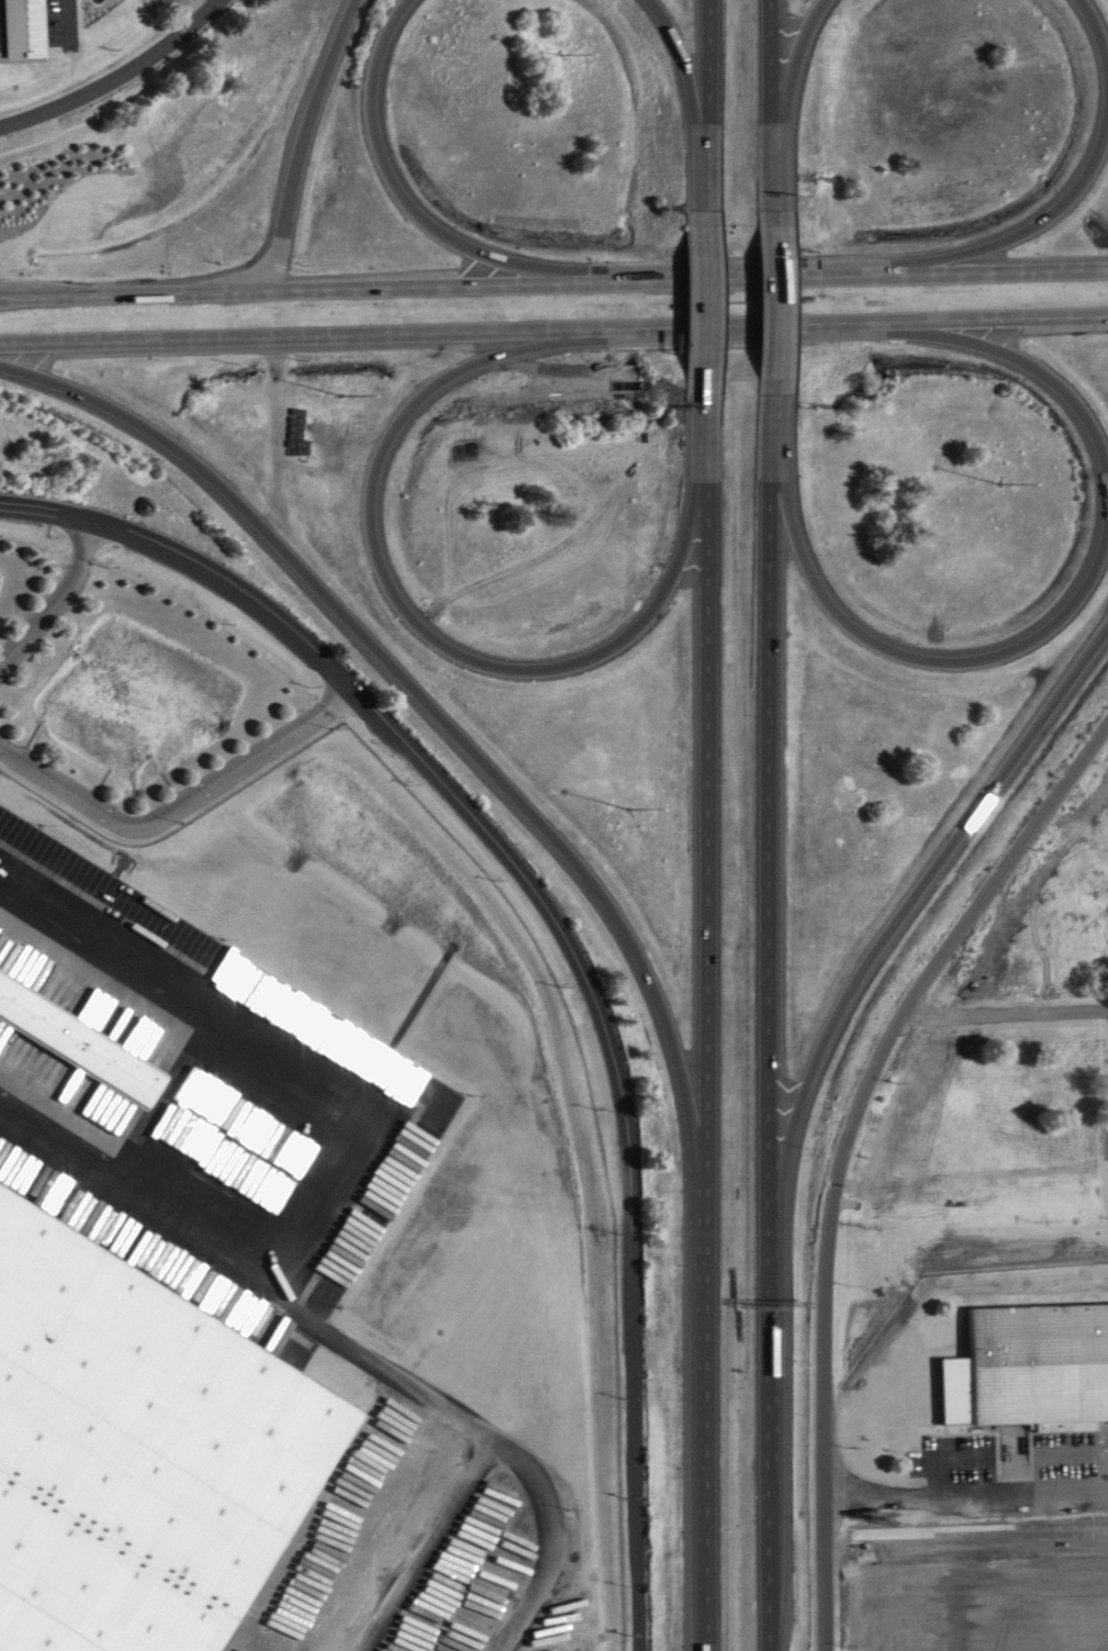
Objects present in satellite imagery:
road: (201, 7)
building: (30, 27)
road: (1097, 33)
road: (684, 75)
road: (793, 75)
road: (120, 78)
road: (708, 105)
road: (770, 105)
road: (302, 145)
road: (406, 203)
road: (1018, 235)
road: (553, 282)
road: (708, 303)
road: (770, 303)
road: (861, 323)
road: (307, 338)
road: (997, 350)
road: (57, 604)
road: (408, 615)
road: (905, 656)
road: (433, 711)
road: (392, 729)
road: (180, 802)
road: (908, 908)
road: (1005, 1016)
road: (707, 1023)
road: (769, 1023)
building: (83, 1039)
road: (844, 1150)
building: (1033, 1369)
road: (637, 1383)
building: (136, 1443)
road: (970, 1494)

